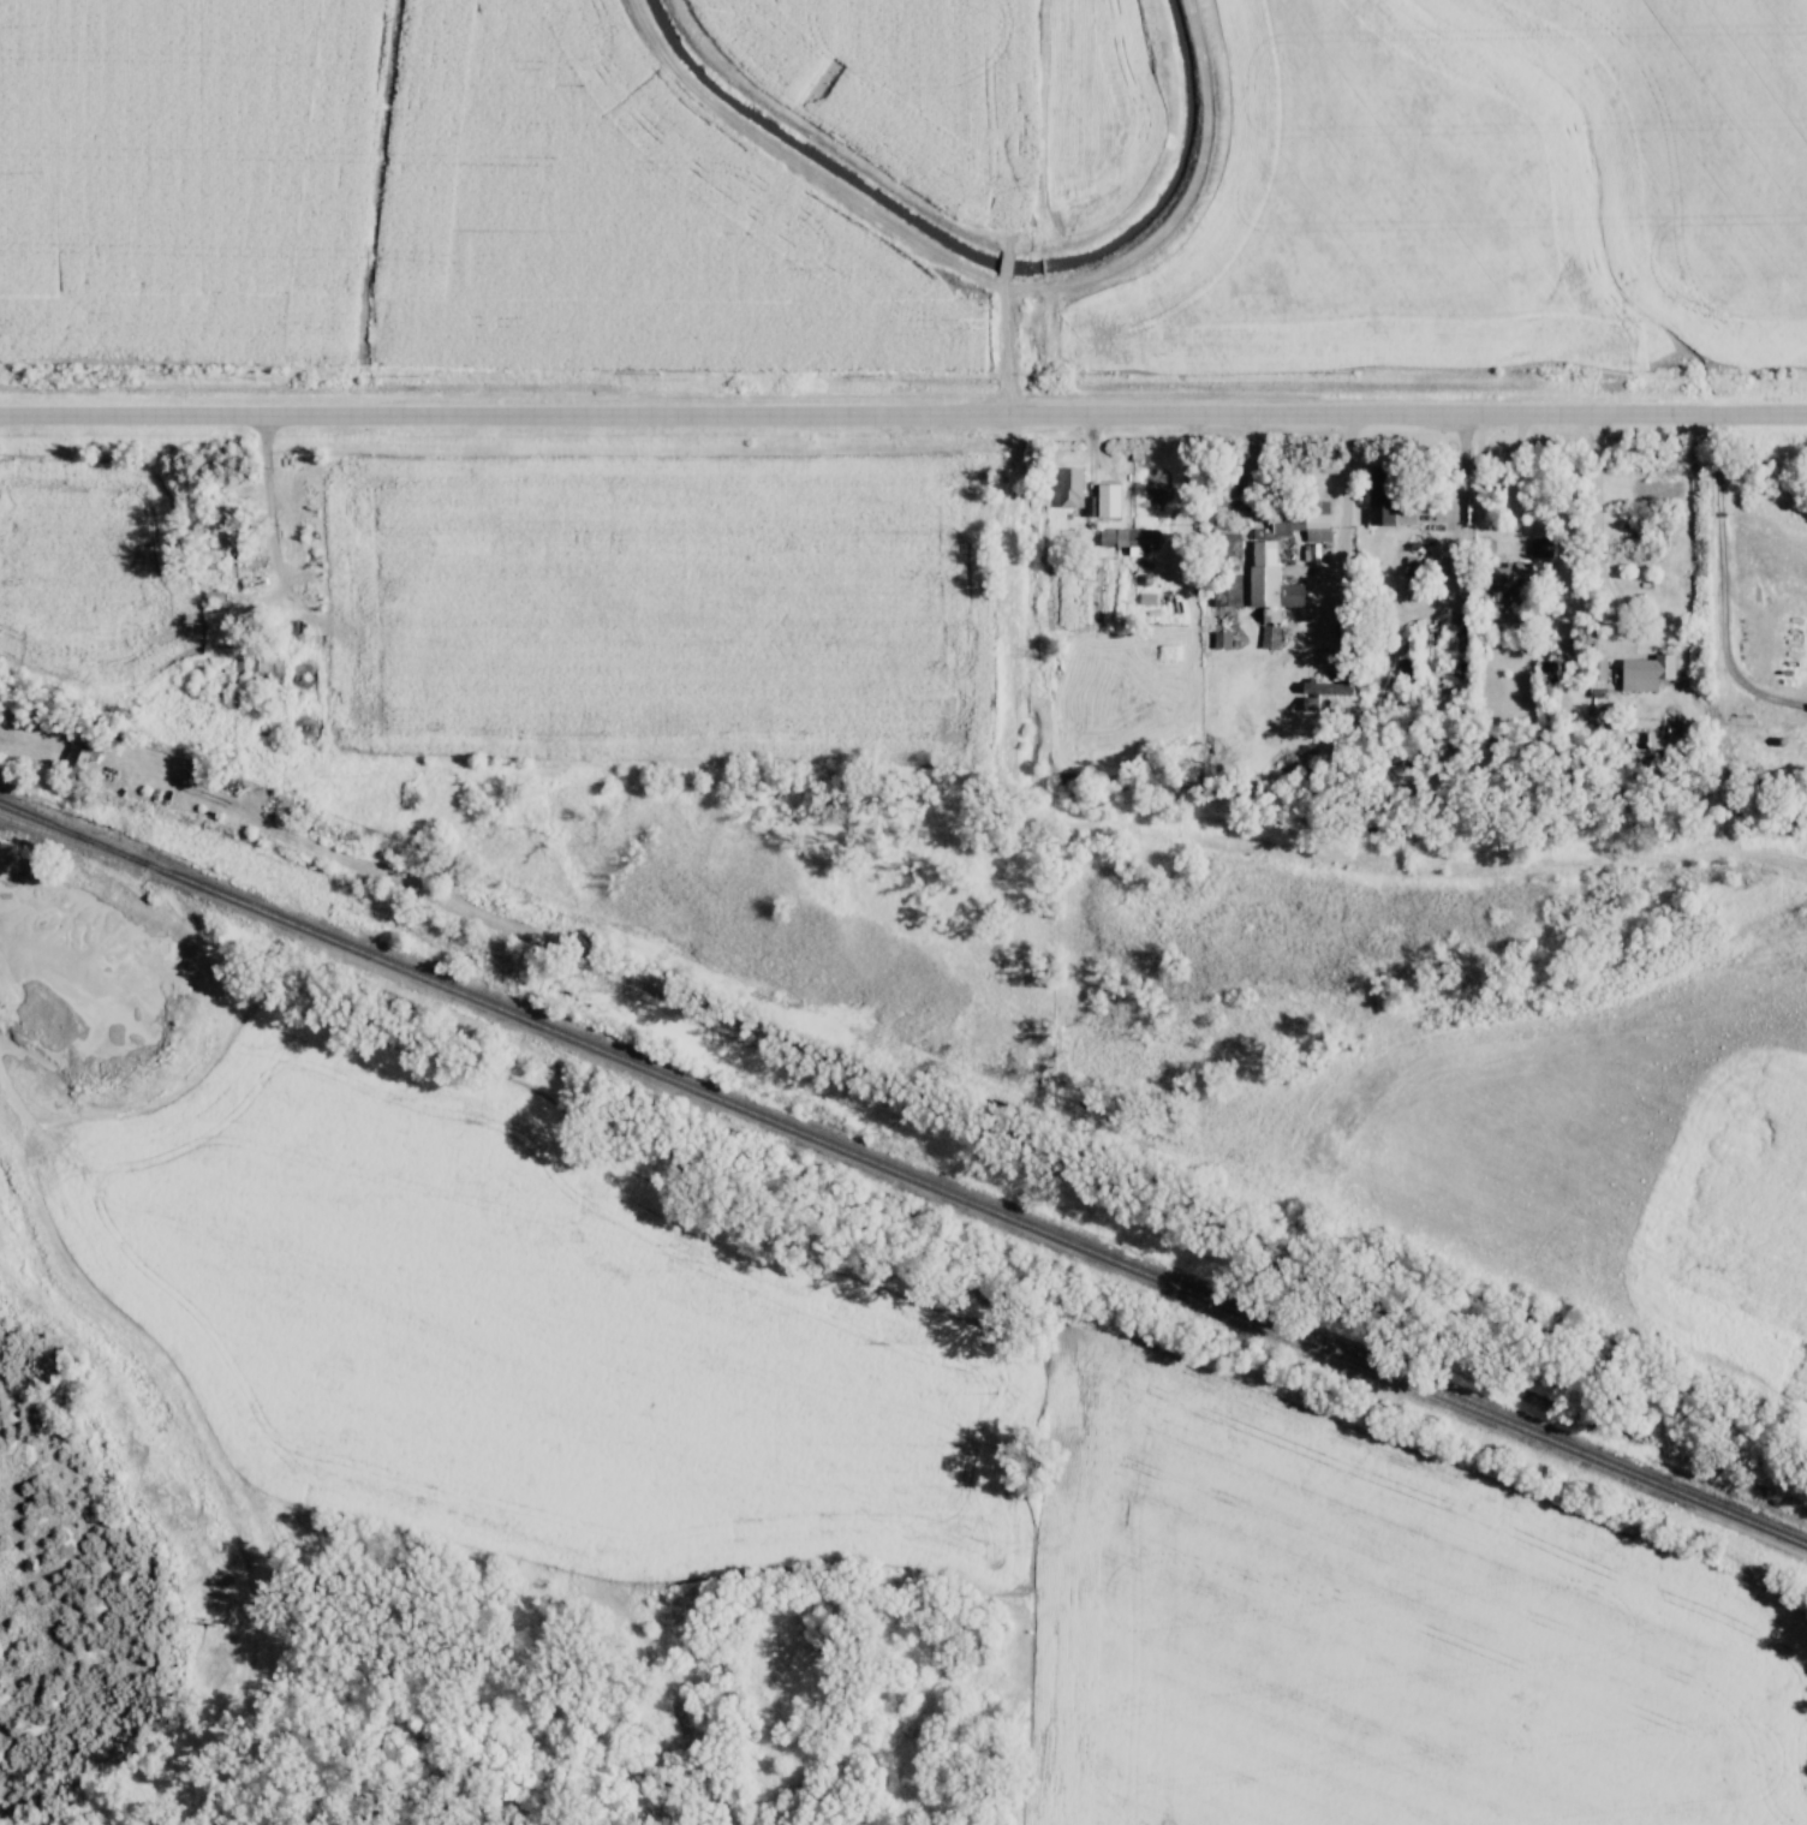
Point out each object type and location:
building: (1003, 264)
building: (573, 413)
road: (903, 417)
building: (1224, 484)
building: (1068, 487)
building: (1386, 500)
road: (1598, 505)
building: (1302, 518)
building: (225, 529)
building: (1127, 537)
building: (1539, 547)
road: (1346, 548)
road: (1505, 551)
building: (1269, 578)
building: (1502, 582)
building: (1406, 669)
building: (267, 670)
building: (1597, 670)
building: (1340, 672)
building: (1544, 672)
building: (1645, 672)
building: (1320, 691)
building: (71, 757)
railway: (59, 834)
crop: (1614, 1146)
railway: (903, 1174)

